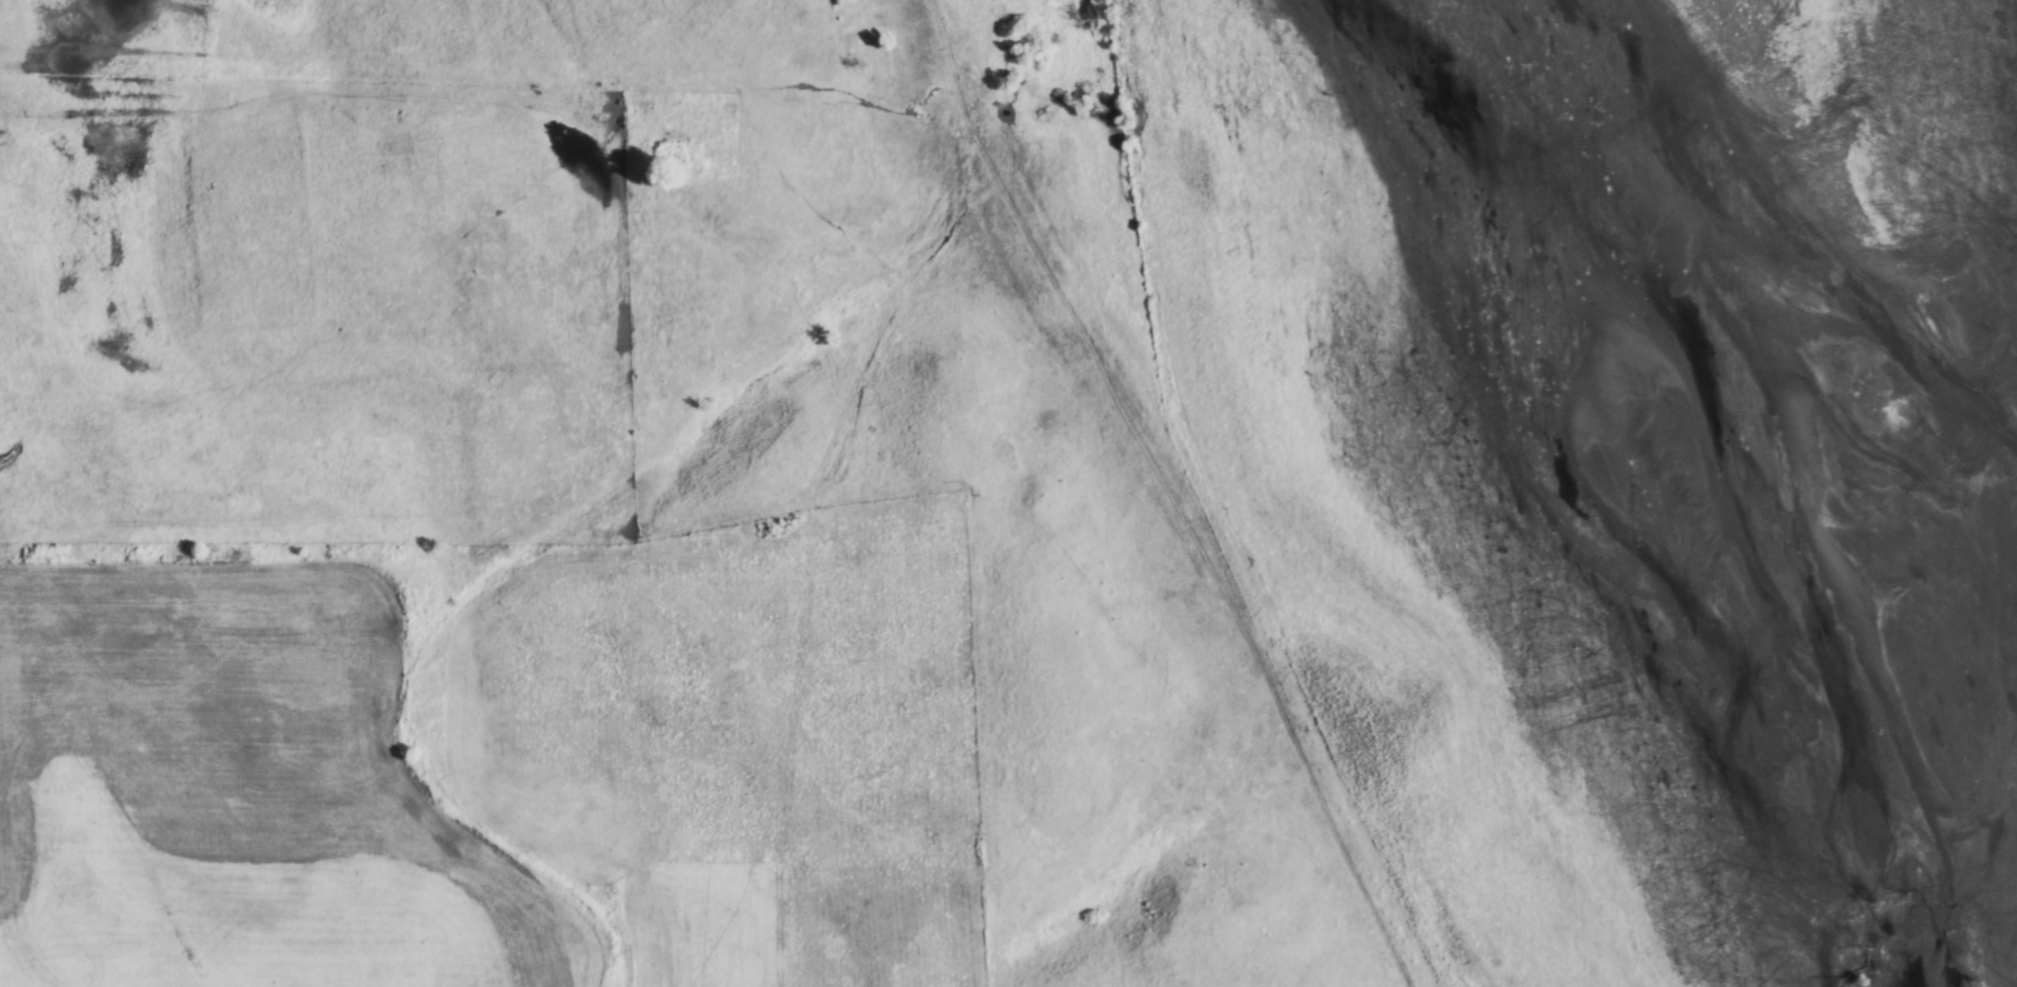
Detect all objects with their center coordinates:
road: (318, 85)
road: (869, 356)

